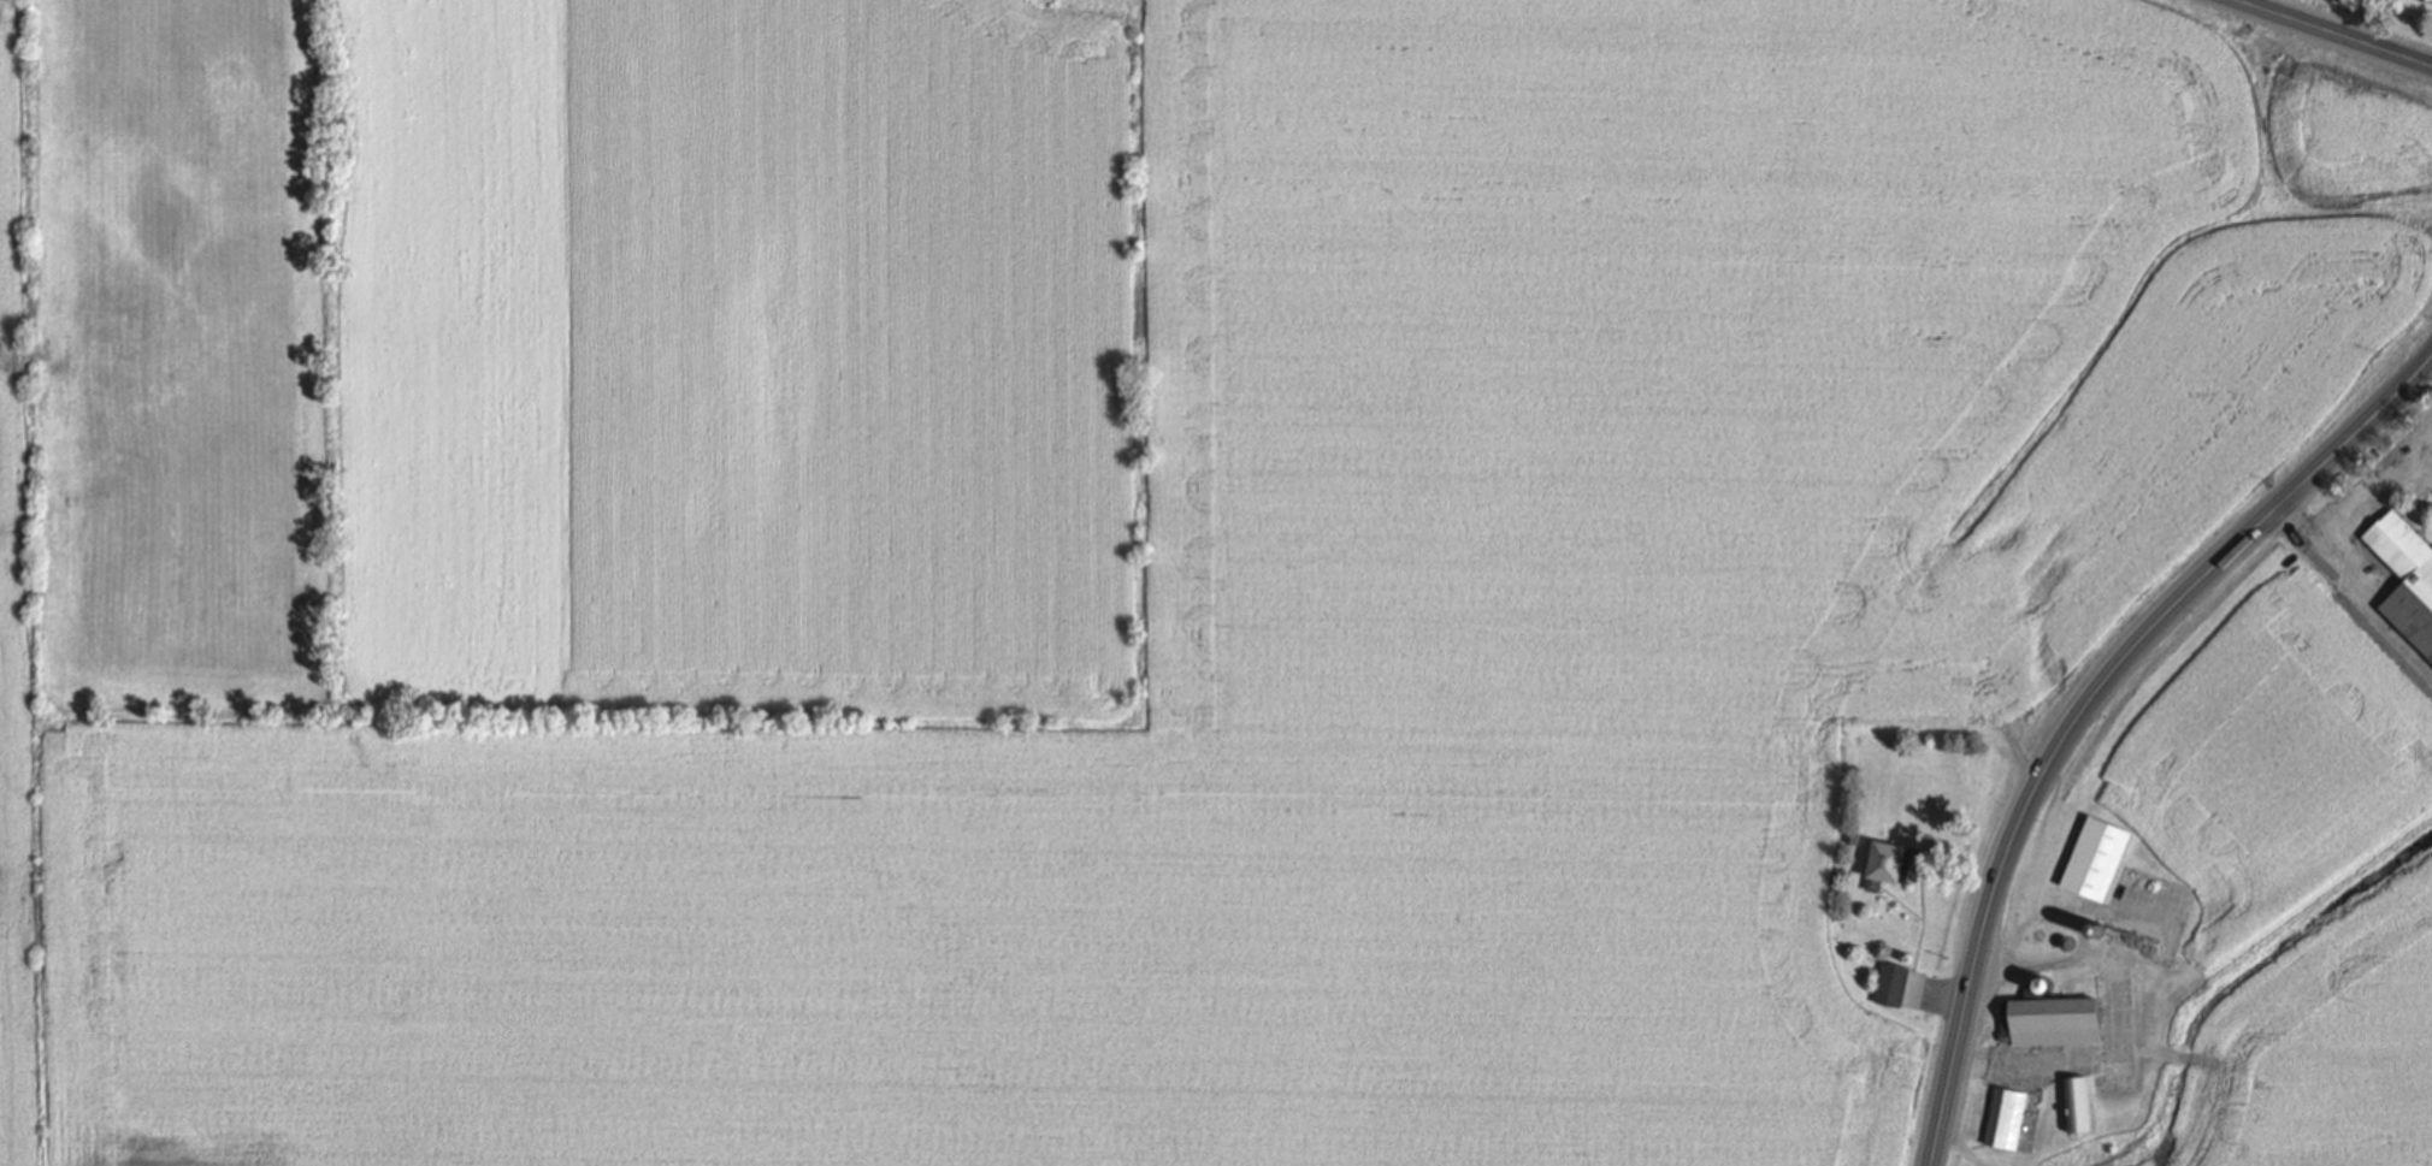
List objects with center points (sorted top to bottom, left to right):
building: (2425, 0)
road: (2334, 35)
crop: (2349, 129)
crop: (172, 345)
crop: (448, 351)
crop: (1712, 354)
crop: (850, 356)
road: (2422, 455)
parking lot: (2413, 461)
road: (2422, 462)
road: (2360, 492)
road: (2325, 544)
building: (2406, 580)
crop: (12, 663)
road: (2086, 705)
crop: (2279, 765)
building: (1853, 836)
building: (2097, 858)
building: (1889, 864)
crop: (937, 948)
building: (1893, 984)
building: (2050, 1016)
crop: (2322, 1049)
building: (2076, 1102)
building: (2006, 1118)

